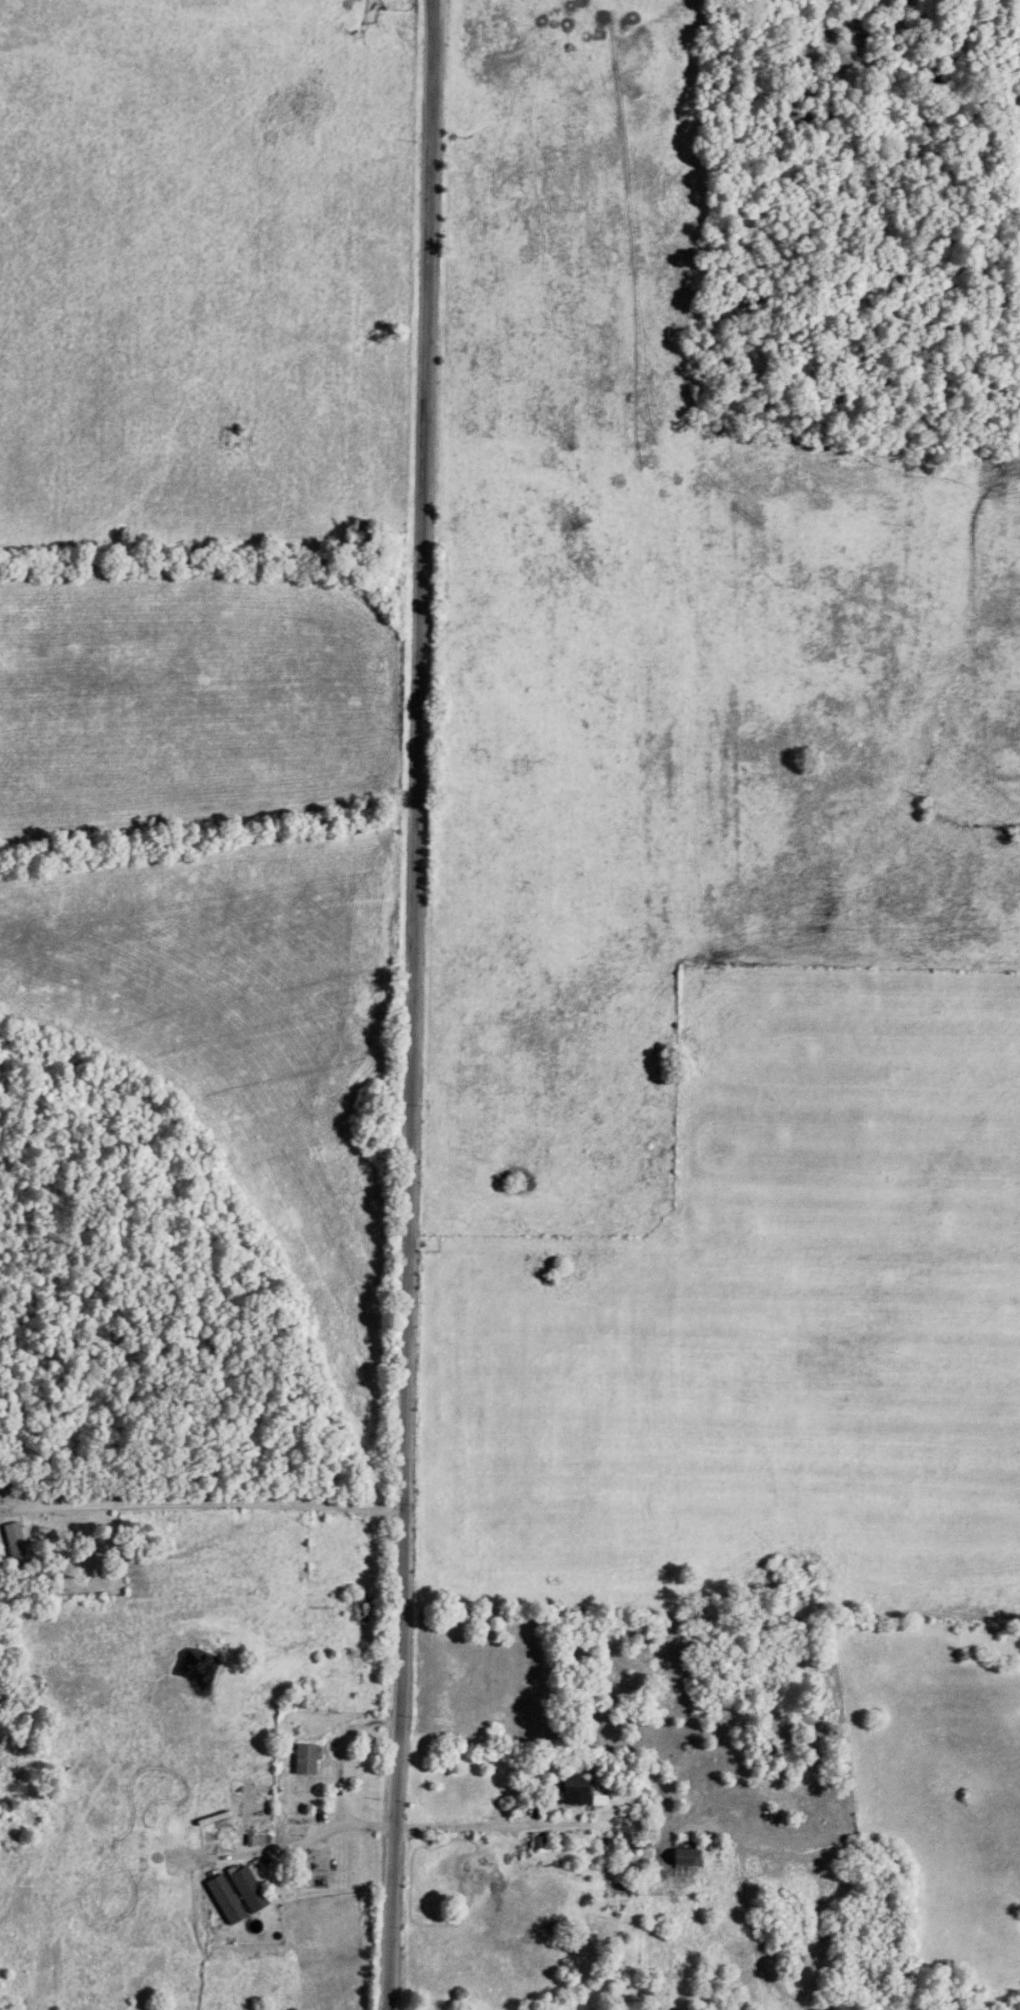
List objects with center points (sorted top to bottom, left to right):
road: (412, 1005)
road: (211, 1503)
building: (13, 1541)
building: (303, 1760)
building: (574, 1792)
road: (496, 1825)
building: (683, 1858)
building: (315, 1868)
building: (229, 1886)

